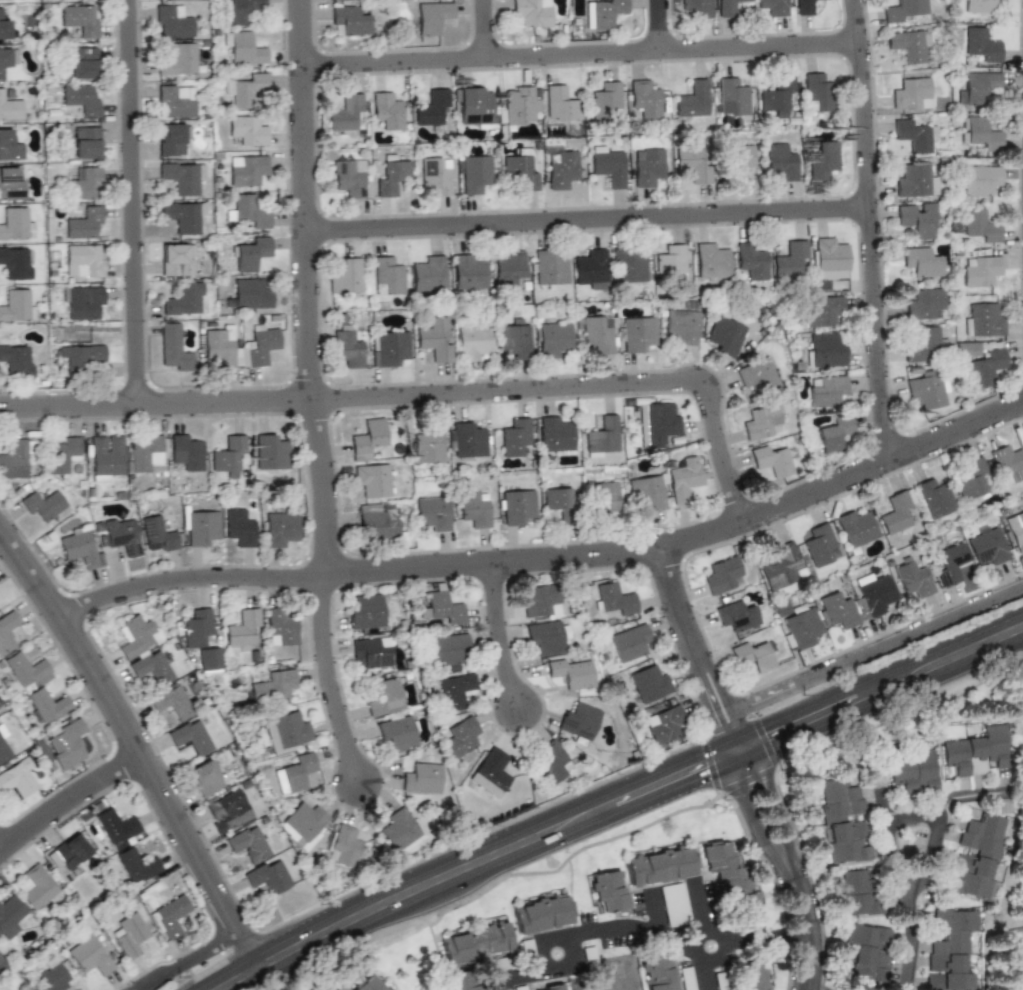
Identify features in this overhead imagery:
building: (978, 5)
building: (806, 6)
building: (697, 7)
building: (773, 7)
building: (242, 10)
building: (902, 10)
building: (722, 11)
building: (532, 12)
building: (604, 13)
building: (431, 17)
building: (79, 19)
building: (171, 20)
building: (349, 20)
building: (4, 27)
road: (662, 31)
road: (489, 35)
building: (910, 46)
building: (978, 46)
building: (244, 48)
building: (178, 58)
building: (7, 61)
building: (83, 62)
road: (586, 65)
building: (975, 87)
building: (246, 90)
building: (816, 91)
building: (911, 93)
building: (777, 96)
building: (732, 97)
building: (81, 98)
building: (644, 98)
building: (692, 99)
building: (606, 100)
building: (175, 101)
building: (561, 102)
building: (520, 104)
building: (10, 106)
building: (431, 107)
building: (474, 107)
building: (386, 110)
building: (344, 111)
building: (246, 130)
building: (979, 132)
building: (912, 135)
building: (172, 138)
building: (86, 142)
building: (10, 146)
building: (821, 160)
building: (734, 161)
building: (780, 161)
building: (692, 163)
building: (607, 166)
building: (559, 167)
building: (648, 167)
building: (247, 171)
building: (519, 171)
building: (474, 173)
building: (389, 174)
building: (434, 174)
building: (181, 177)
building: (349, 178)
building: (915, 180)
building: (979, 180)
building: (12, 183)
building: (84, 184)
road: (139, 207)
building: (248, 211)
building: (181, 216)
building: (916, 220)
building: (15, 223)
building: (83, 223)
building: (979, 225)
road: (593, 230)
road: (874, 234)
building: (250, 254)
building: (829, 257)
building: (788, 258)
building: (176, 259)
building: (671, 260)
building: (750, 260)
building: (84, 261)
building: (709, 261)
building: (921, 262)
building: (15, 264)
building: (626, 265)
building: (550, 267)
building: (510, 268)
building: (591, 269)
building: (979, 270)
building: (467, 272)
building: (428, 273)
building: (388, 275)
building: (345, 277)
building: (250, 294)
building: (182, 299)
building: (83, 302)
building: (924, 304)
building: (16, 305)
building: (823, 311)
building: (981, 320)
building: (681, 326)
building: (596, 332)
building: (636, 334)
building: (724, 335)
building: (552, 338)
building: (433, 339)
building: (513, 339)
building: (471, 342)
building: (922, 344)
building: (221, 345)
building: (261, 345)
building: (172, 348)
building: (348, 348)
building: (388, 349)
building: (823, 351)
building: (82, 354)
building: (239, 357)
building: (16, 360)
building: (980, 362)
building: (755, 377)
building: (925, 389)
building: (824, 390)
road: (317, 398)
road: (429, 404)
building: (761, 422)
building: (656, 424)
building: (834, 433)
building: (553, 434)
building: (601, 435)
building: (514, 437)
building: (369, 438)
building: (467, 440)
building: (428, 443)
building: (186, 452)
building: (269, 452)
building: (147, 453)
building: (64, 454)
building: (229, 454)
building: (105, 456)
building: (13, 459)
building: (771, 460)
building: (1007, 464)
building: (685, 475)
building: (372, 479)
building: (971, 479)
road: (846, 490)
building: (648, 491)
building: (557, 498)
building: (606, 498)
building: (933, 498)
building: (45, 506)
building: (516, 506)
building: (473, 509)
building: (896, 511)
building: (433, 512)
building: (376, 522)
building: (201, 527)
building: (239, 527)
building: (279, 528)
building: (855, 528)
building: (1015, 529)
building: (158, 534)
building: (121, 535)
building: (985, 544)
building: (820, 545)
building: (80, 547)
building: (950, 564)
building: (780, 567)
building: (721, 575)
building: (913, 578)
road: (363, 583)
building: (875, 595)
building: (615, 597)
building: (541, 602)
road: (678, 602)
building: (443, 606)
building: (837, 610)
building: (367, 613)
building: (735, 616)
building: (241, 626)
building: (802, 627)
building: (197, 628)
building: (279, 628)
building: (8, 631)
building: (135, 636)
building: (546, 636)
building: (628, 642)
road: (504, 645)
road: (878, 647)
road: (936, 648)
building: (446, 649)
building: (370, 653)
building: (753, 656)
building: (208, 659)
building: (151, 667)
building: (25, 669)
building: (571, 673)
road: (717, 676)
building: (648, 683)
building: (271, 685)
building: (454, 691)
road: (703, 695)
building: (386, 696)
road: (888, 696)
building: (171, 702)
building: (46, 705)
road: (796, 708)
road: (738, 720)
building: (579, 721)
building: (662, 724)
building: (396, 731)
building: (286, 732)
road: (733, 736)
building: (191, 737)
building: (460, 737)
building: (66, 742)
road: (748, 742)
building: (5, 746)
road: (138, 750)
building: (978, 751)
road: (727, 752)
road: (742, 758)
building: (552, 762)
building: (913, 771)
building: (491, 772)
building: (295, 773)
building: (18, 778)
building: (205, 778)
building: (421, 778)
road: (777, 808)
road: (70, 810)
building: (226, 811)
road: (752, 819)
building: (842, 819)
road: (935, 820)
building: (303, 824)
building: (115, 825)
building: (400, 831)
building: (248, 844)
building: (342, 846)
building: (68, 851)
building: (978, 855)
road: (2, 857)
road: (454, 857)
building: (136, 865)
building: (659, 865)
road: (482, 871)
building: (728, 874)
building: (268, 876)
building: (36, 886)
building: (607, 892)
building: (858, 892)
building: (673, 905)
building: (541, 914)
road: (684, 914)
building: (169, 915)
building: (9, 916)
road: (809, 926)
building: (129, 935)
road: (646, 935)
road: (908, 938)
building: (474, 942)
building: (949, 950)
building: (1016, 950)
building: (866, 954)
building: (89, 955)
road: (183, 960)
building: (2, 965)
road: (712, 966)
building: (657, 971)
building: (52, 974)
building: (749, 977)
building: (686, 978)
building: (461, 980)
building: (370, 983)
building: (329, 988)
building: (553, 988)
building: (12, 989)

